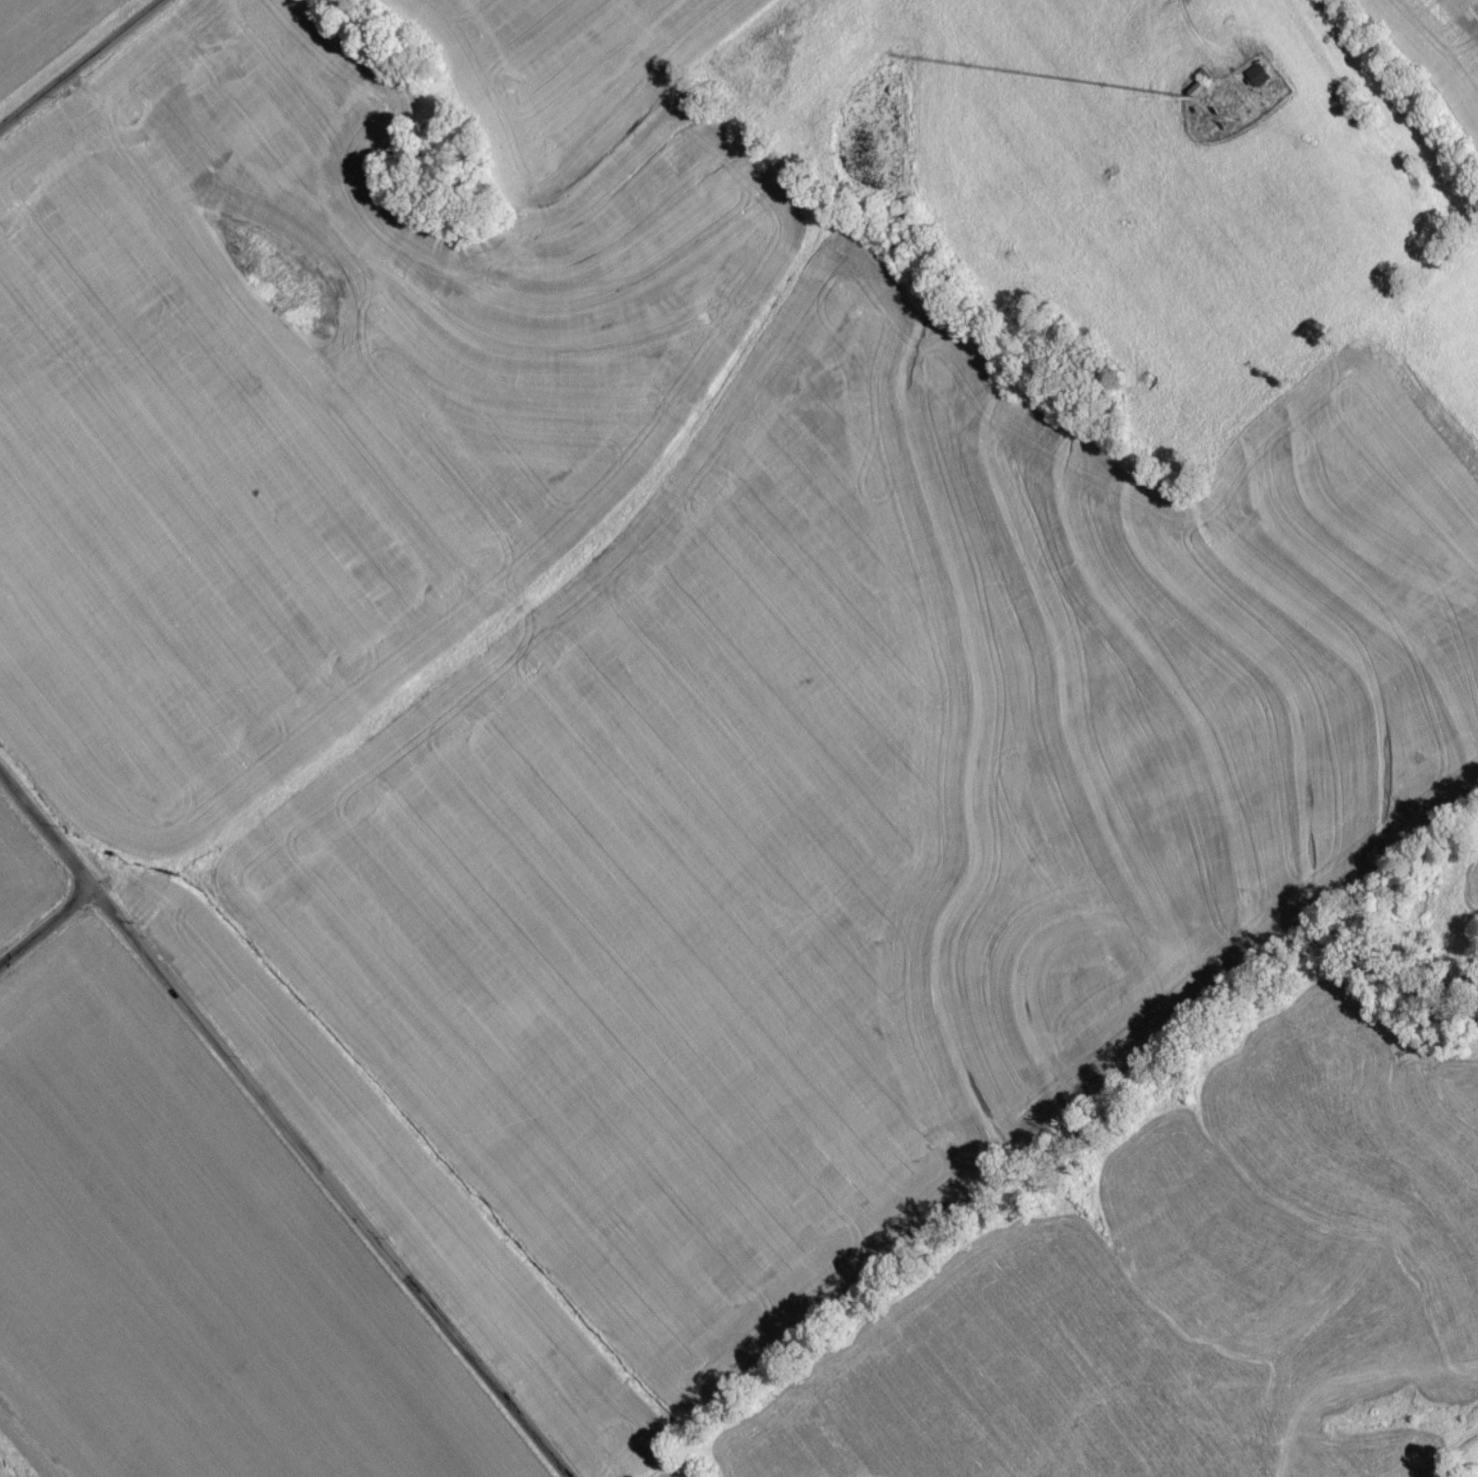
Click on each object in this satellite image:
road: (86, 69)
building: (1258, 81)
building: (1196, 95)
road: (44, 921)
road: (286, 1126)

